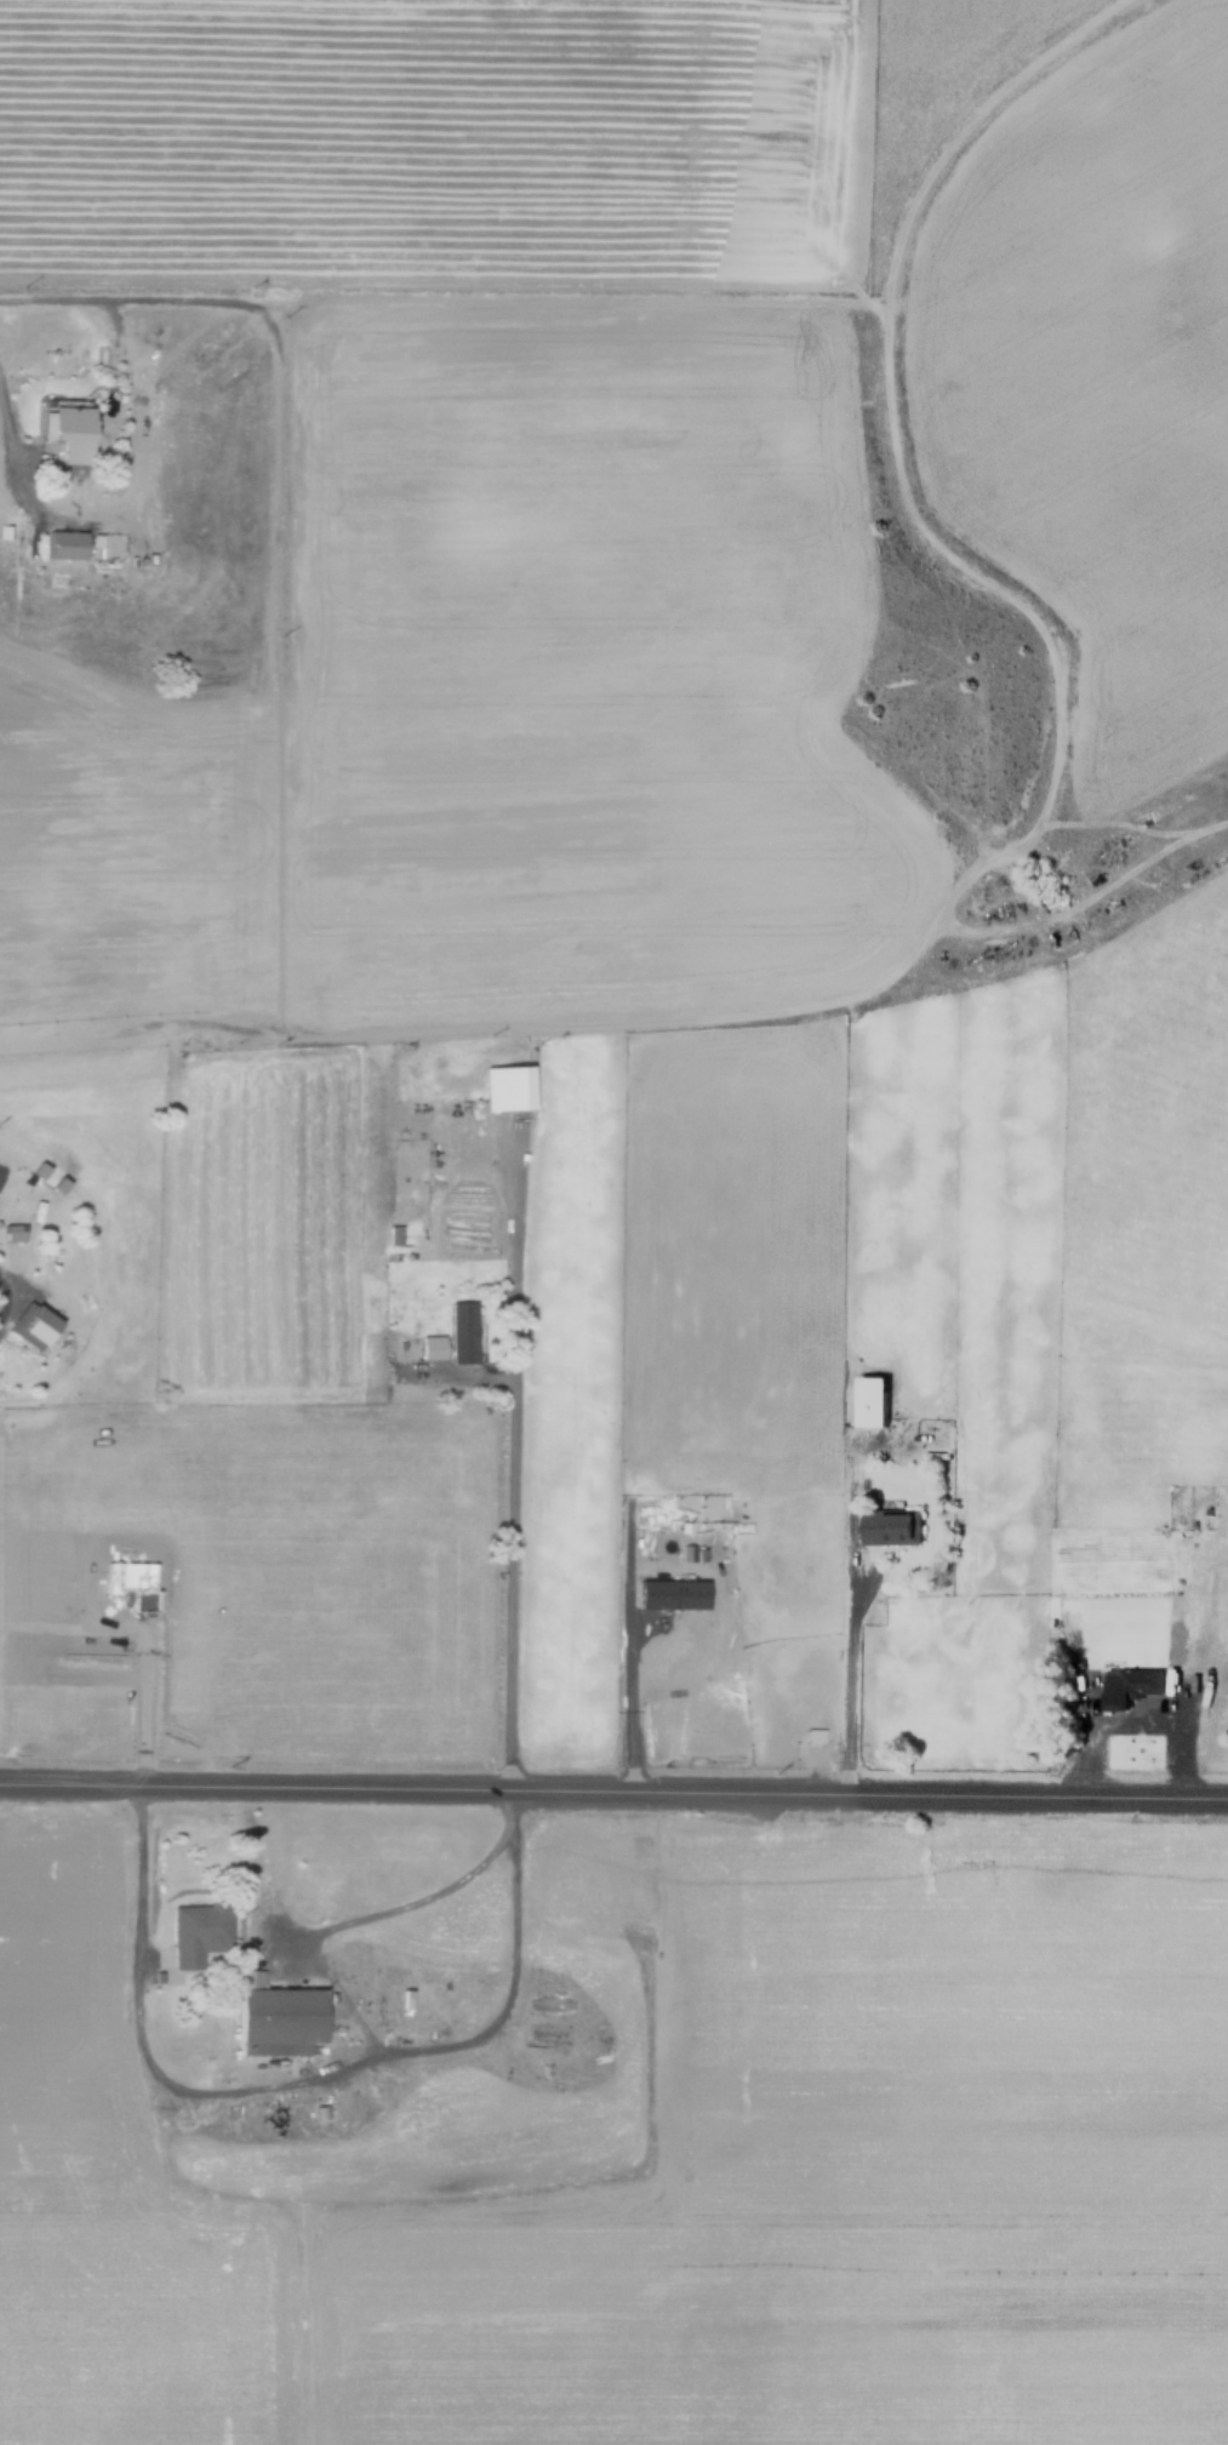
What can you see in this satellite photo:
crop: (415, 132)
building: (64, 428)
road: (19, 464)
building: (63, 544)
building: (504, 1089)
building: (11, 1232)
road: (1, 1298)
building: (29, 1325)
building: (461, 1331)
building: (430, 1347)
building: (868, 1401)
road: (512, 1459)
building: (890, 1525)
building: (668, 1594)
building: (1227, 1618)
road: (850, 1685)
building: (1127, 1686)
road: (613, 1794)
road: (404, 1909)
building: (194, 1933)
building: (274, 2020)
road: (297, 2086)
crop: (611, 2136)

